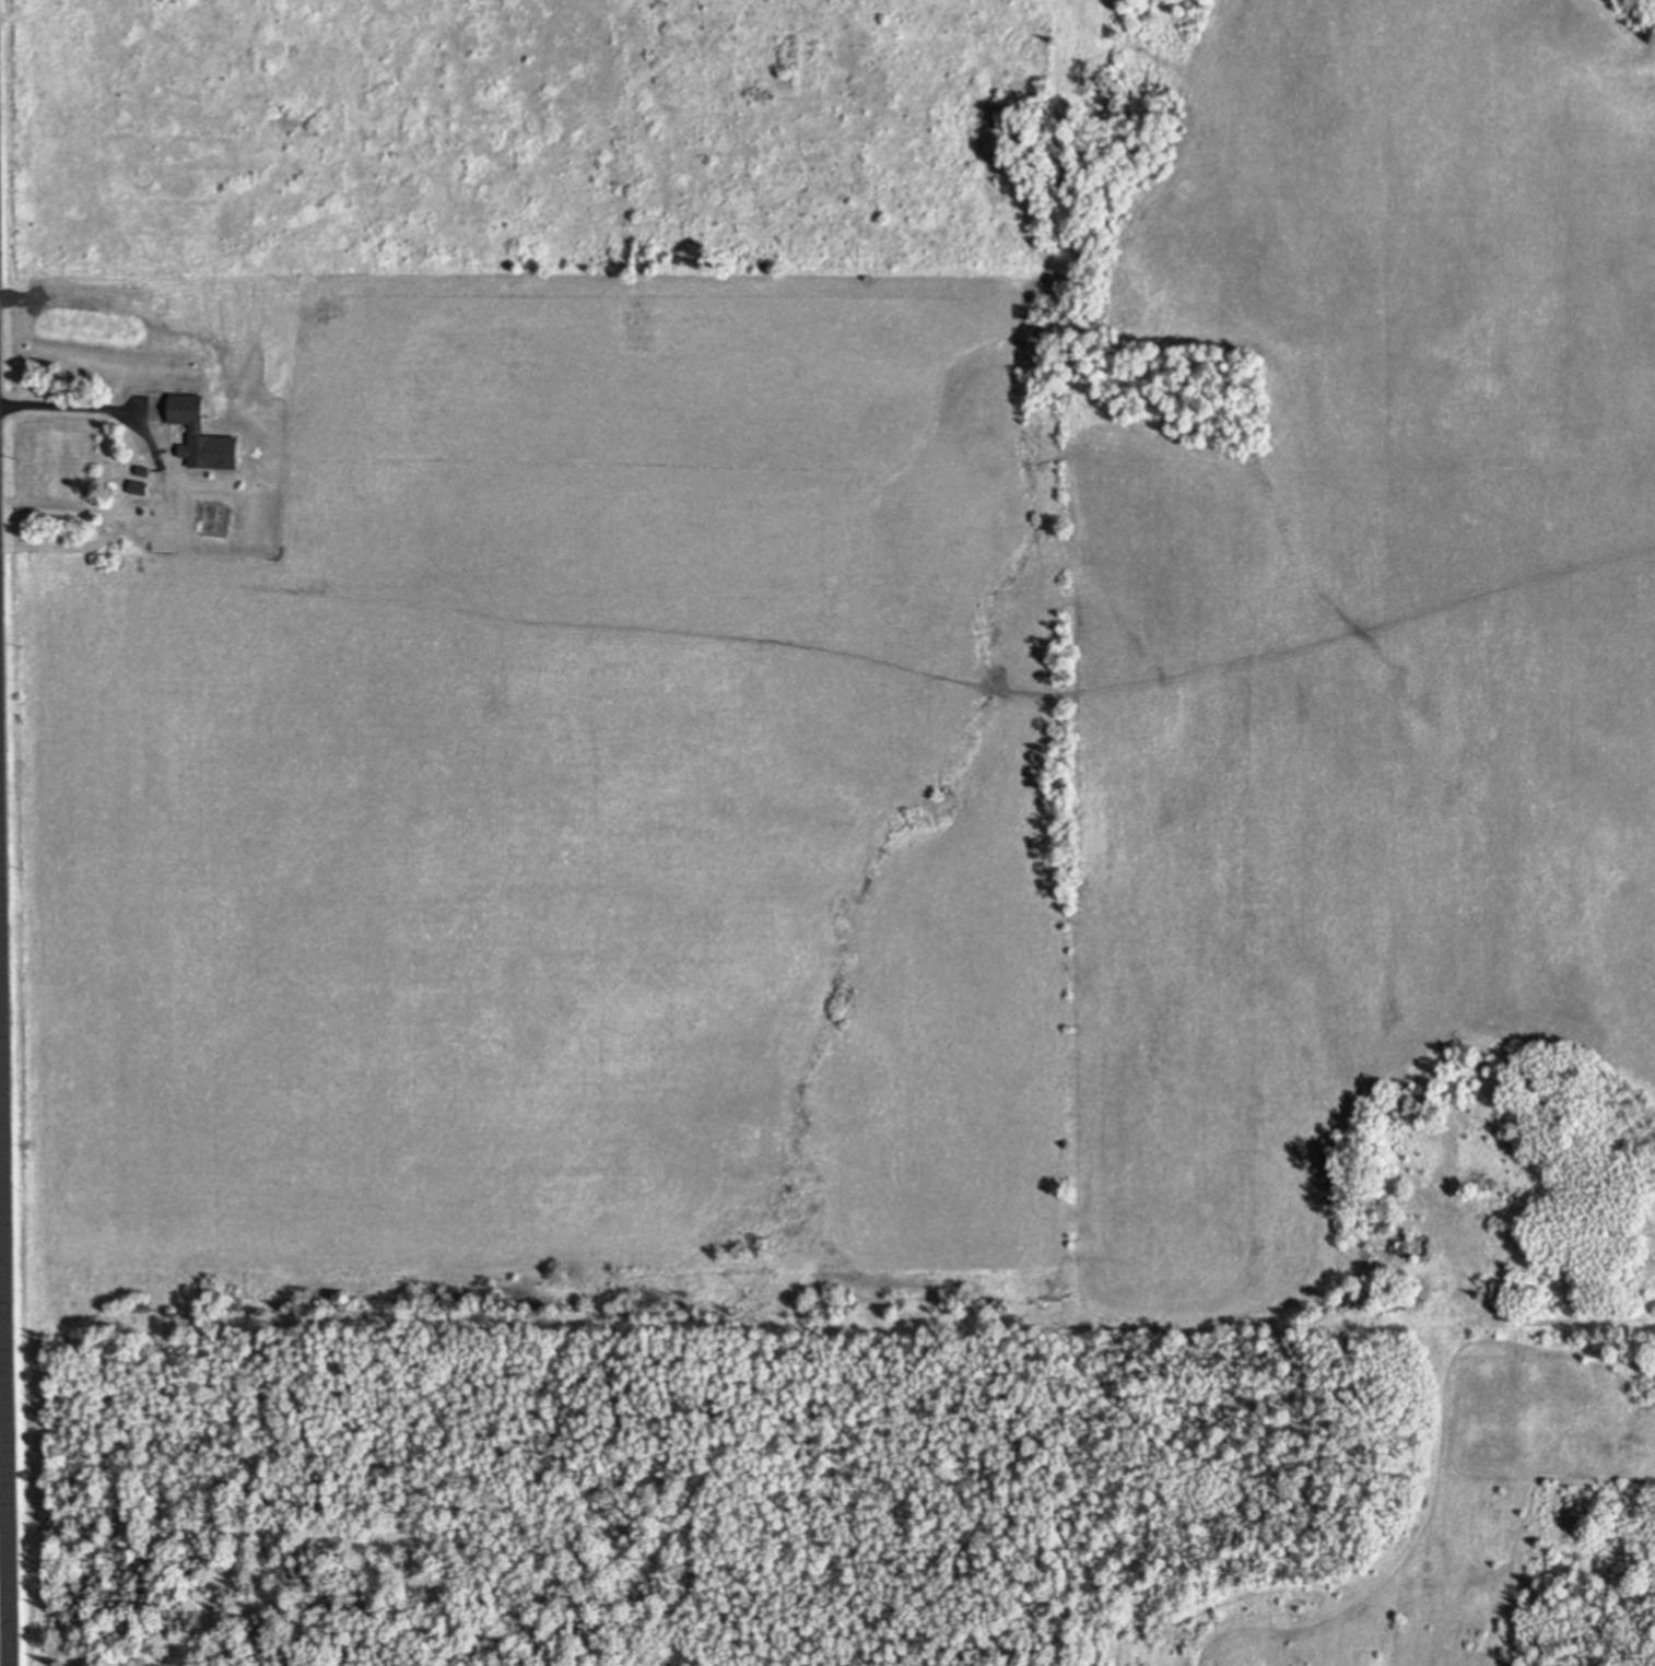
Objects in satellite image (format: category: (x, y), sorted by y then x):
road: (62, 410)
building: (201, 433)
building: (142, 469)
building: (138, 485)
building: (407, 685)
building: (396, 779)
building: (331, 920)
building: (1412, 1244)
road: (2, 1415)

